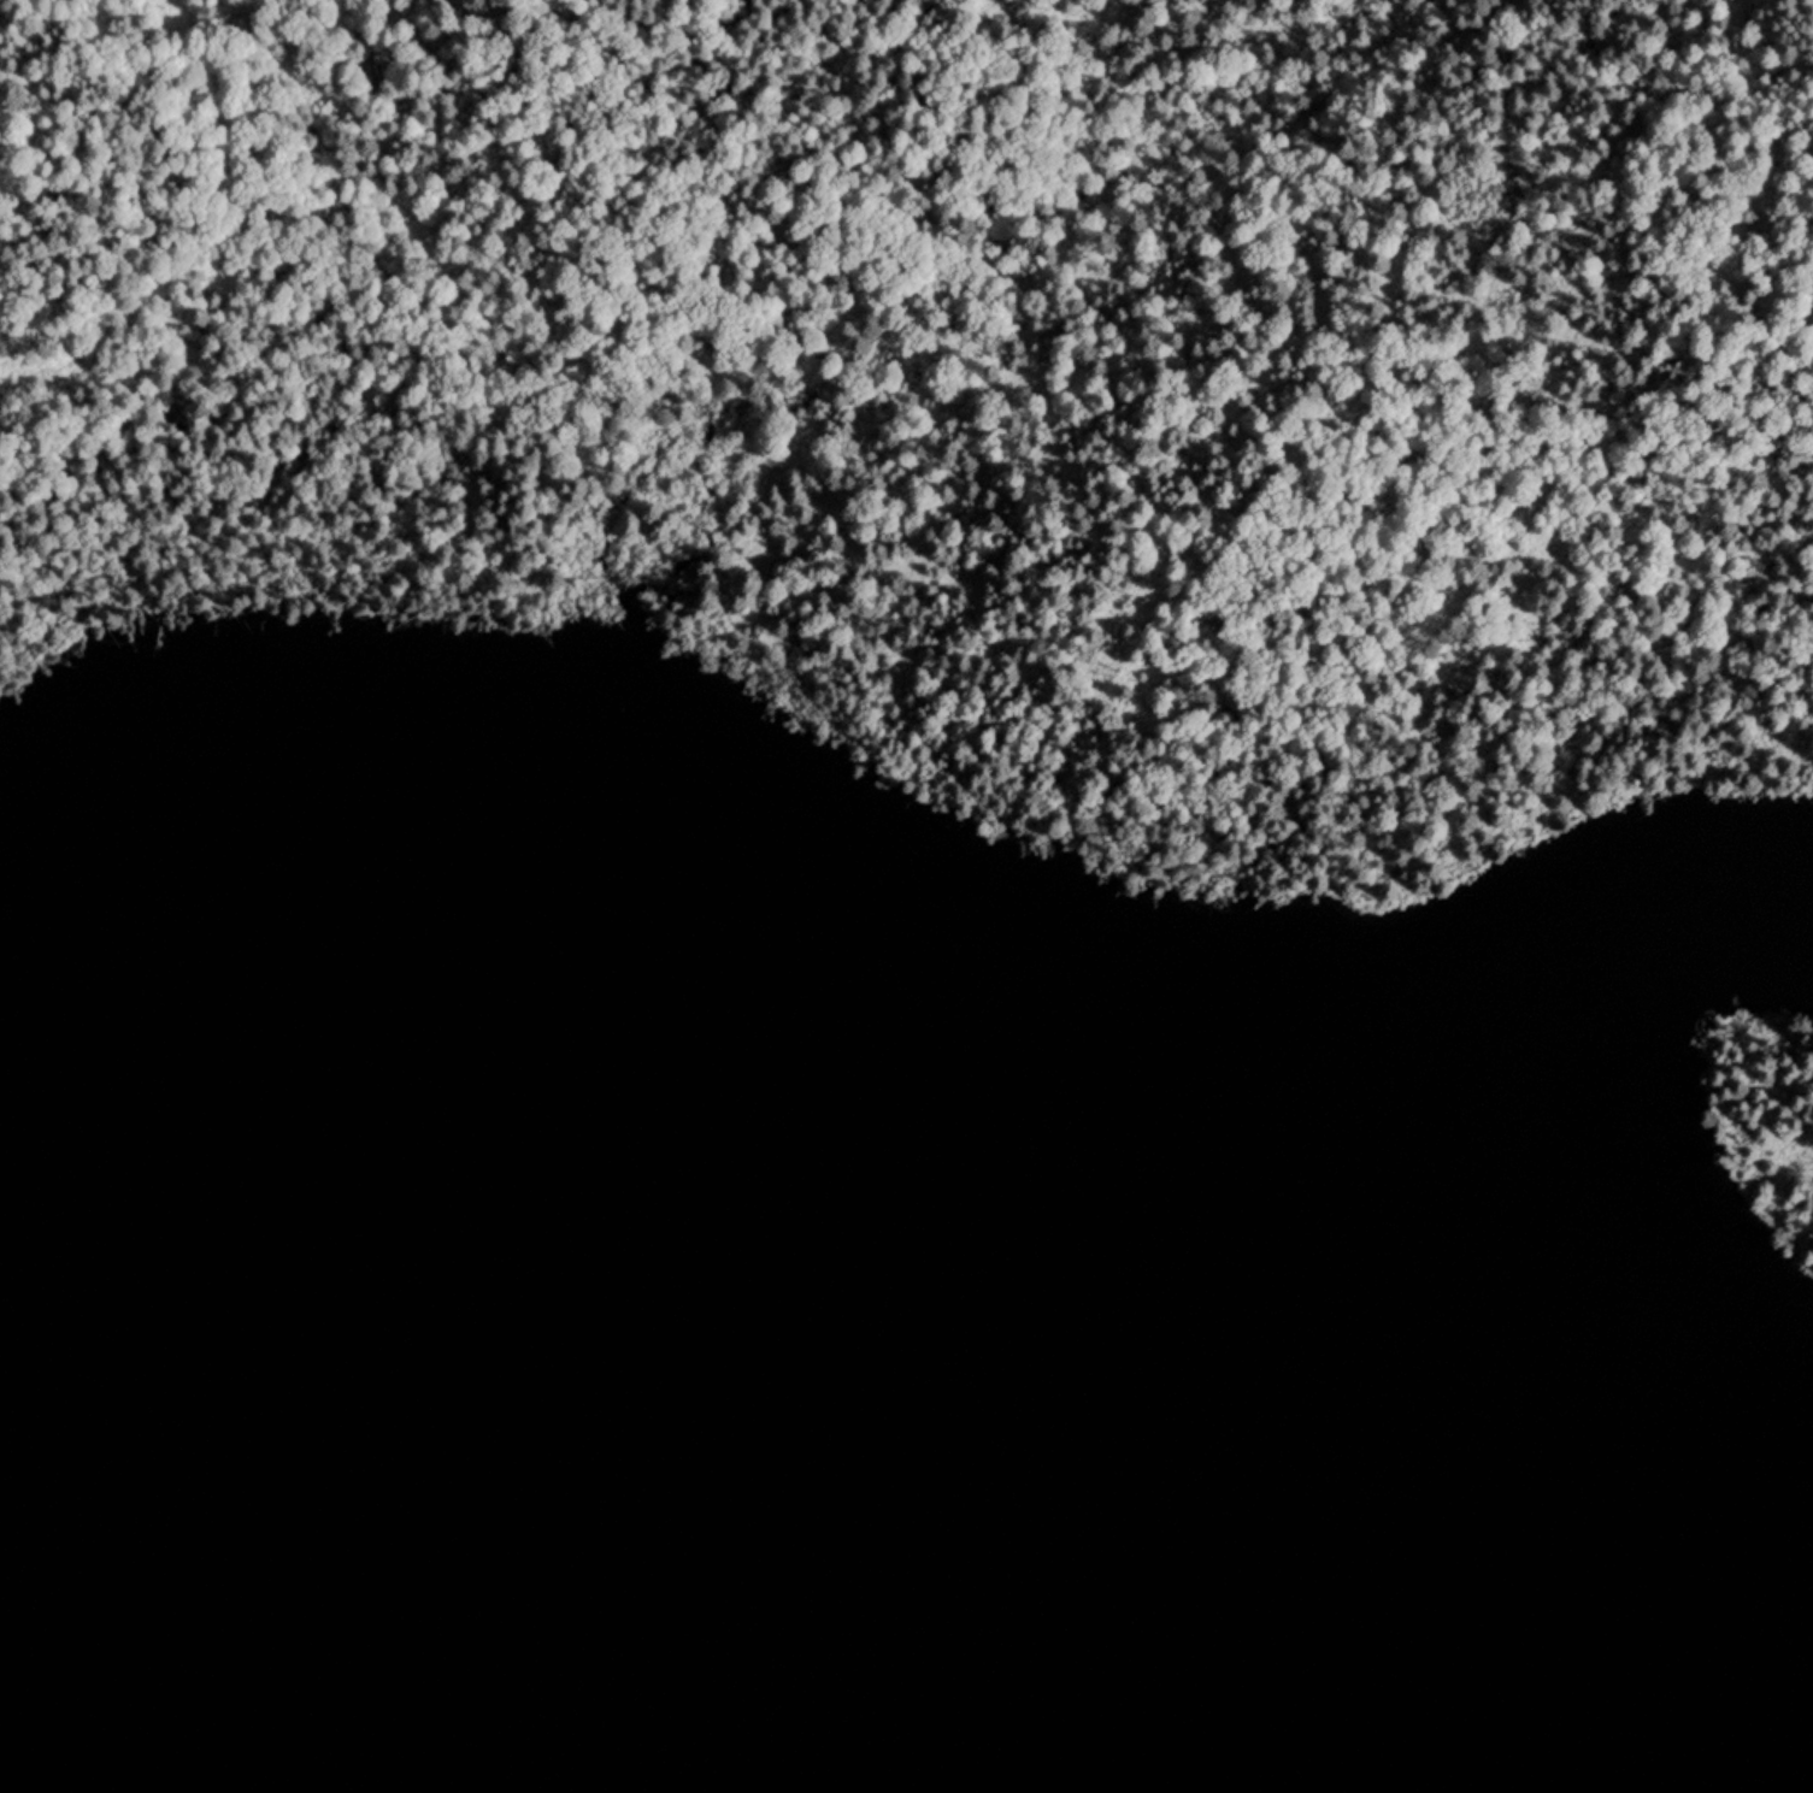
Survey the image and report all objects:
road: (854, 447)

